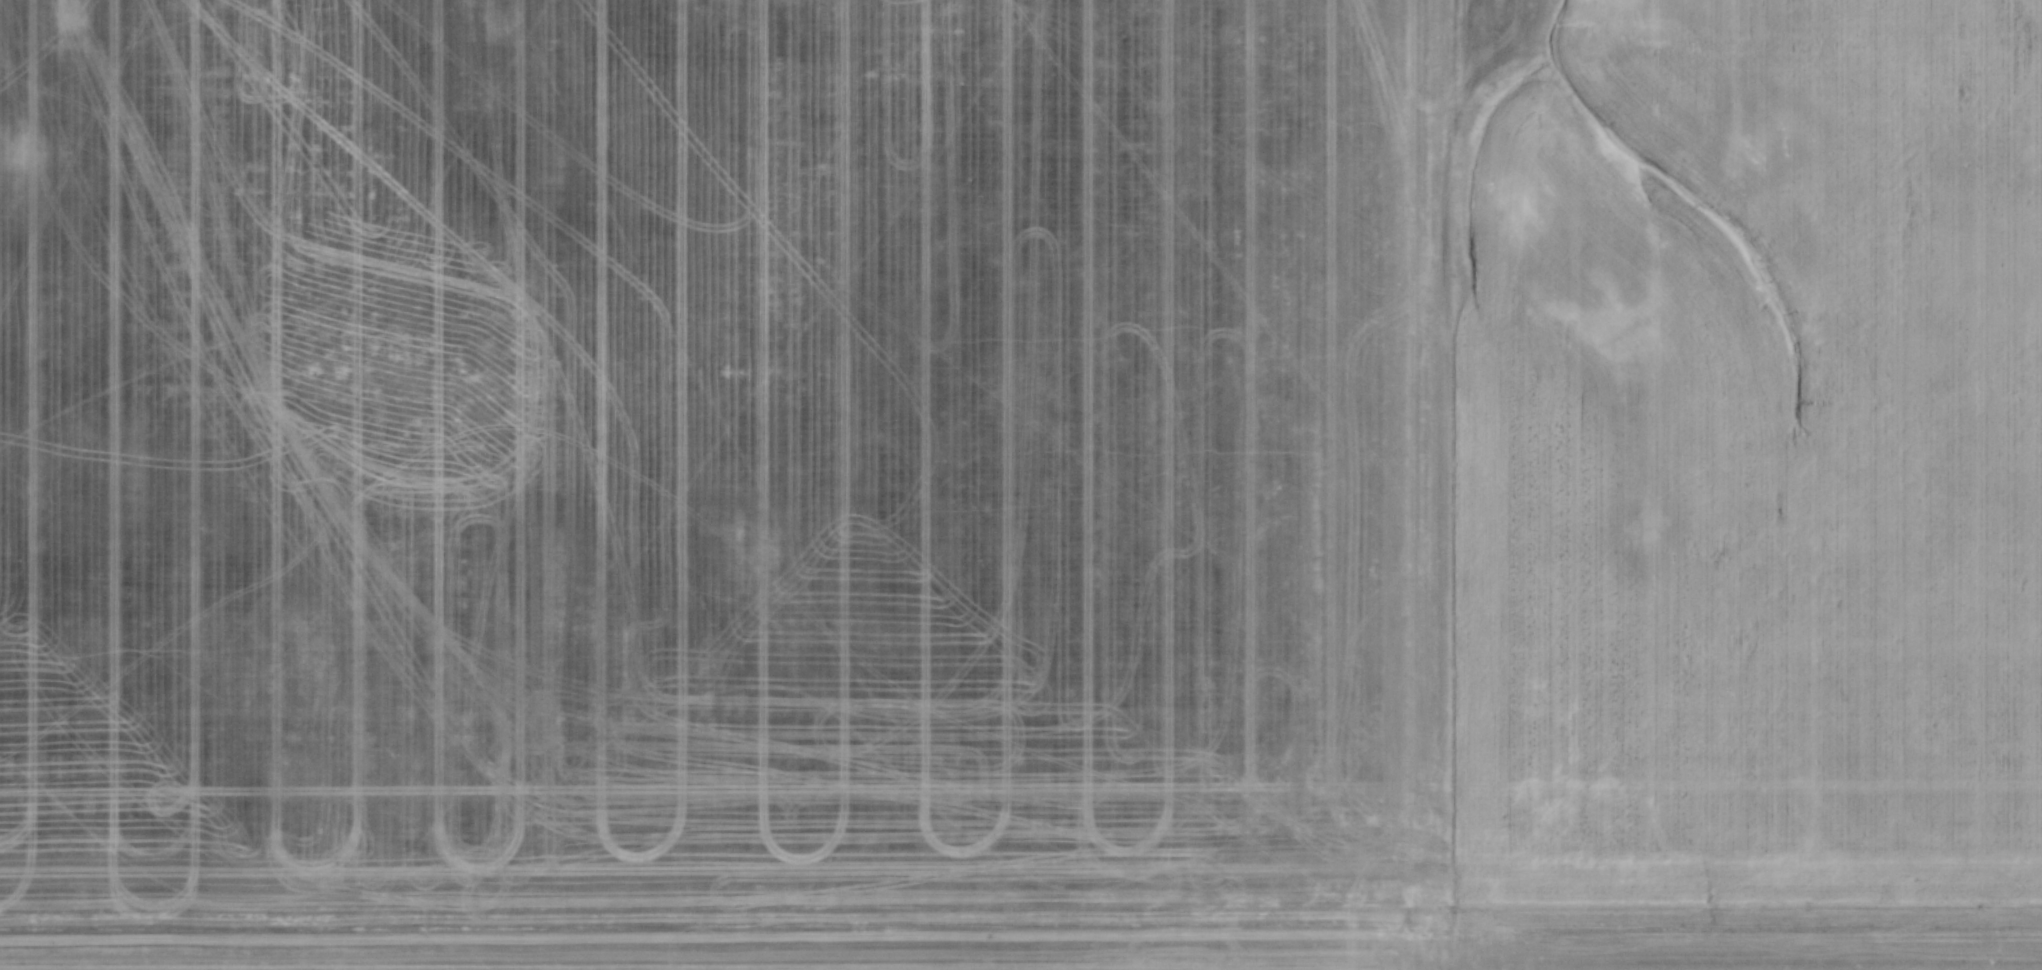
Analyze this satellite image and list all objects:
crop: (1021, 485)

